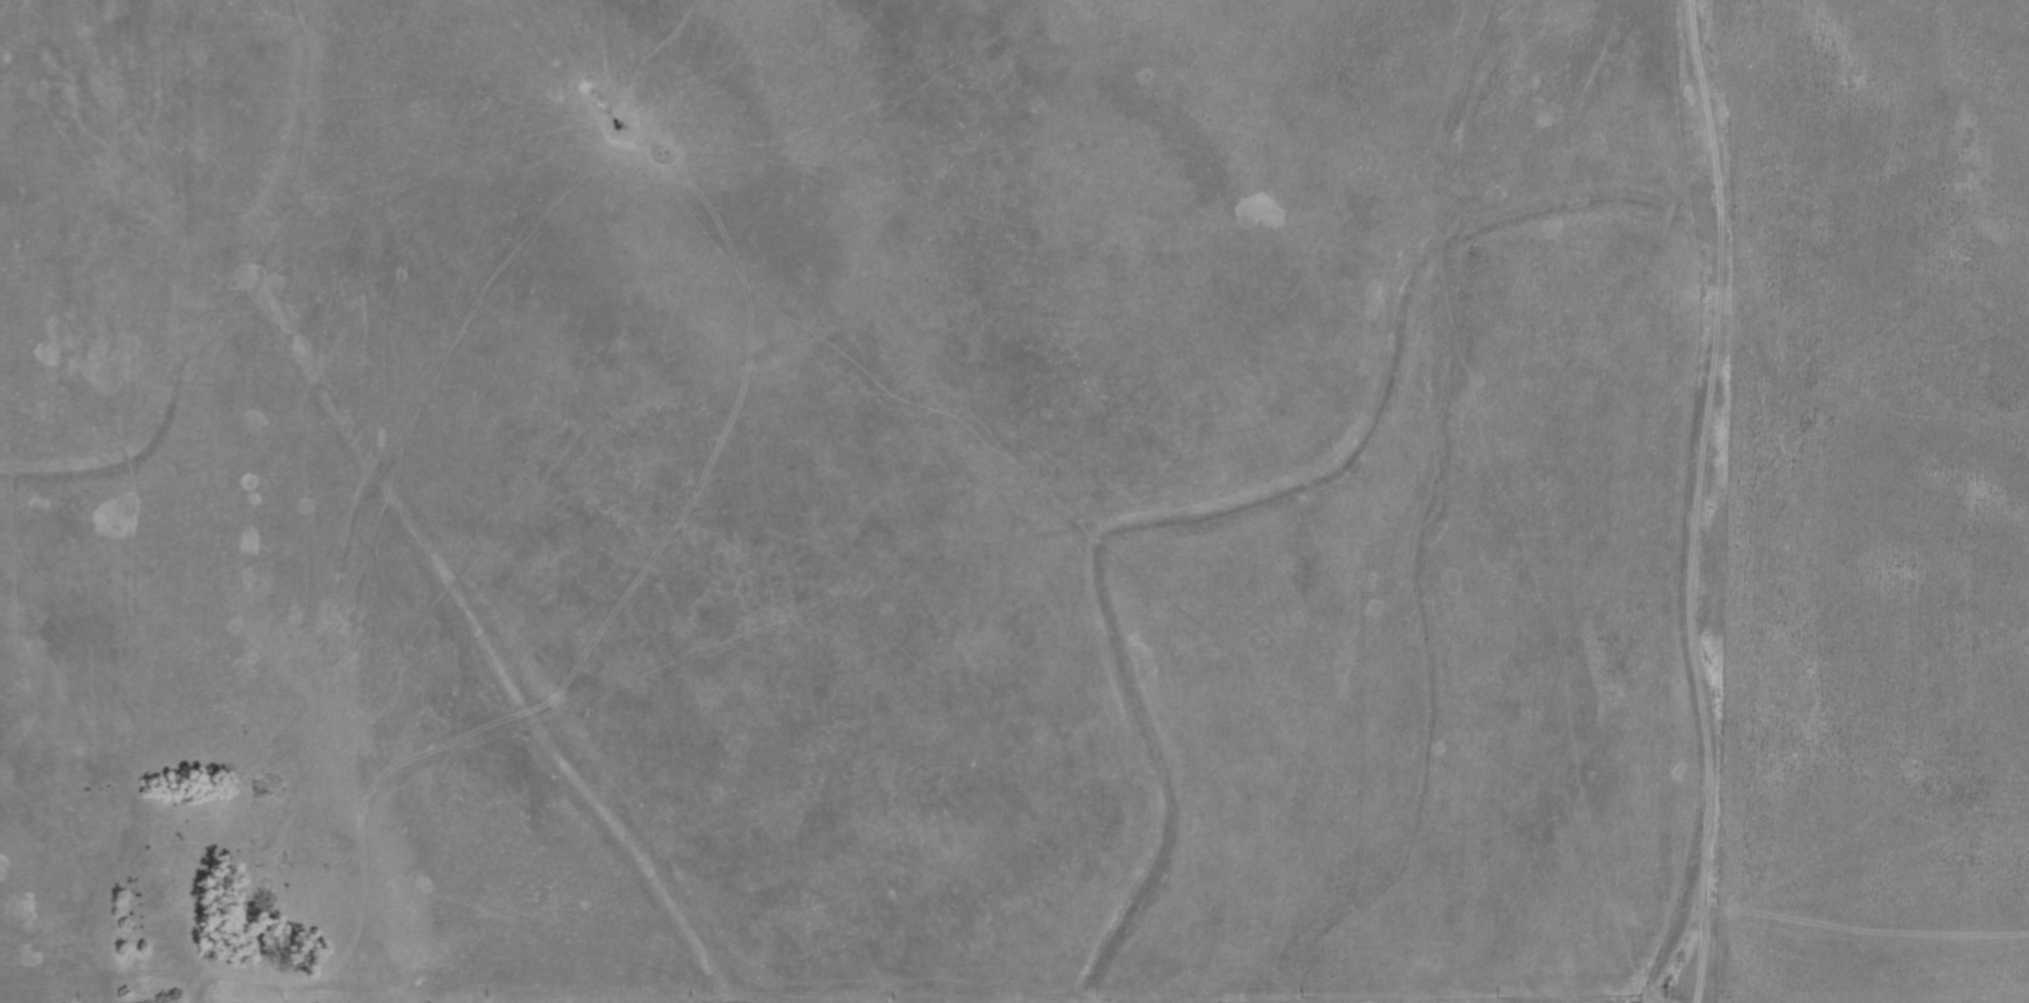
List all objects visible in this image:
road: (1700, 501)

